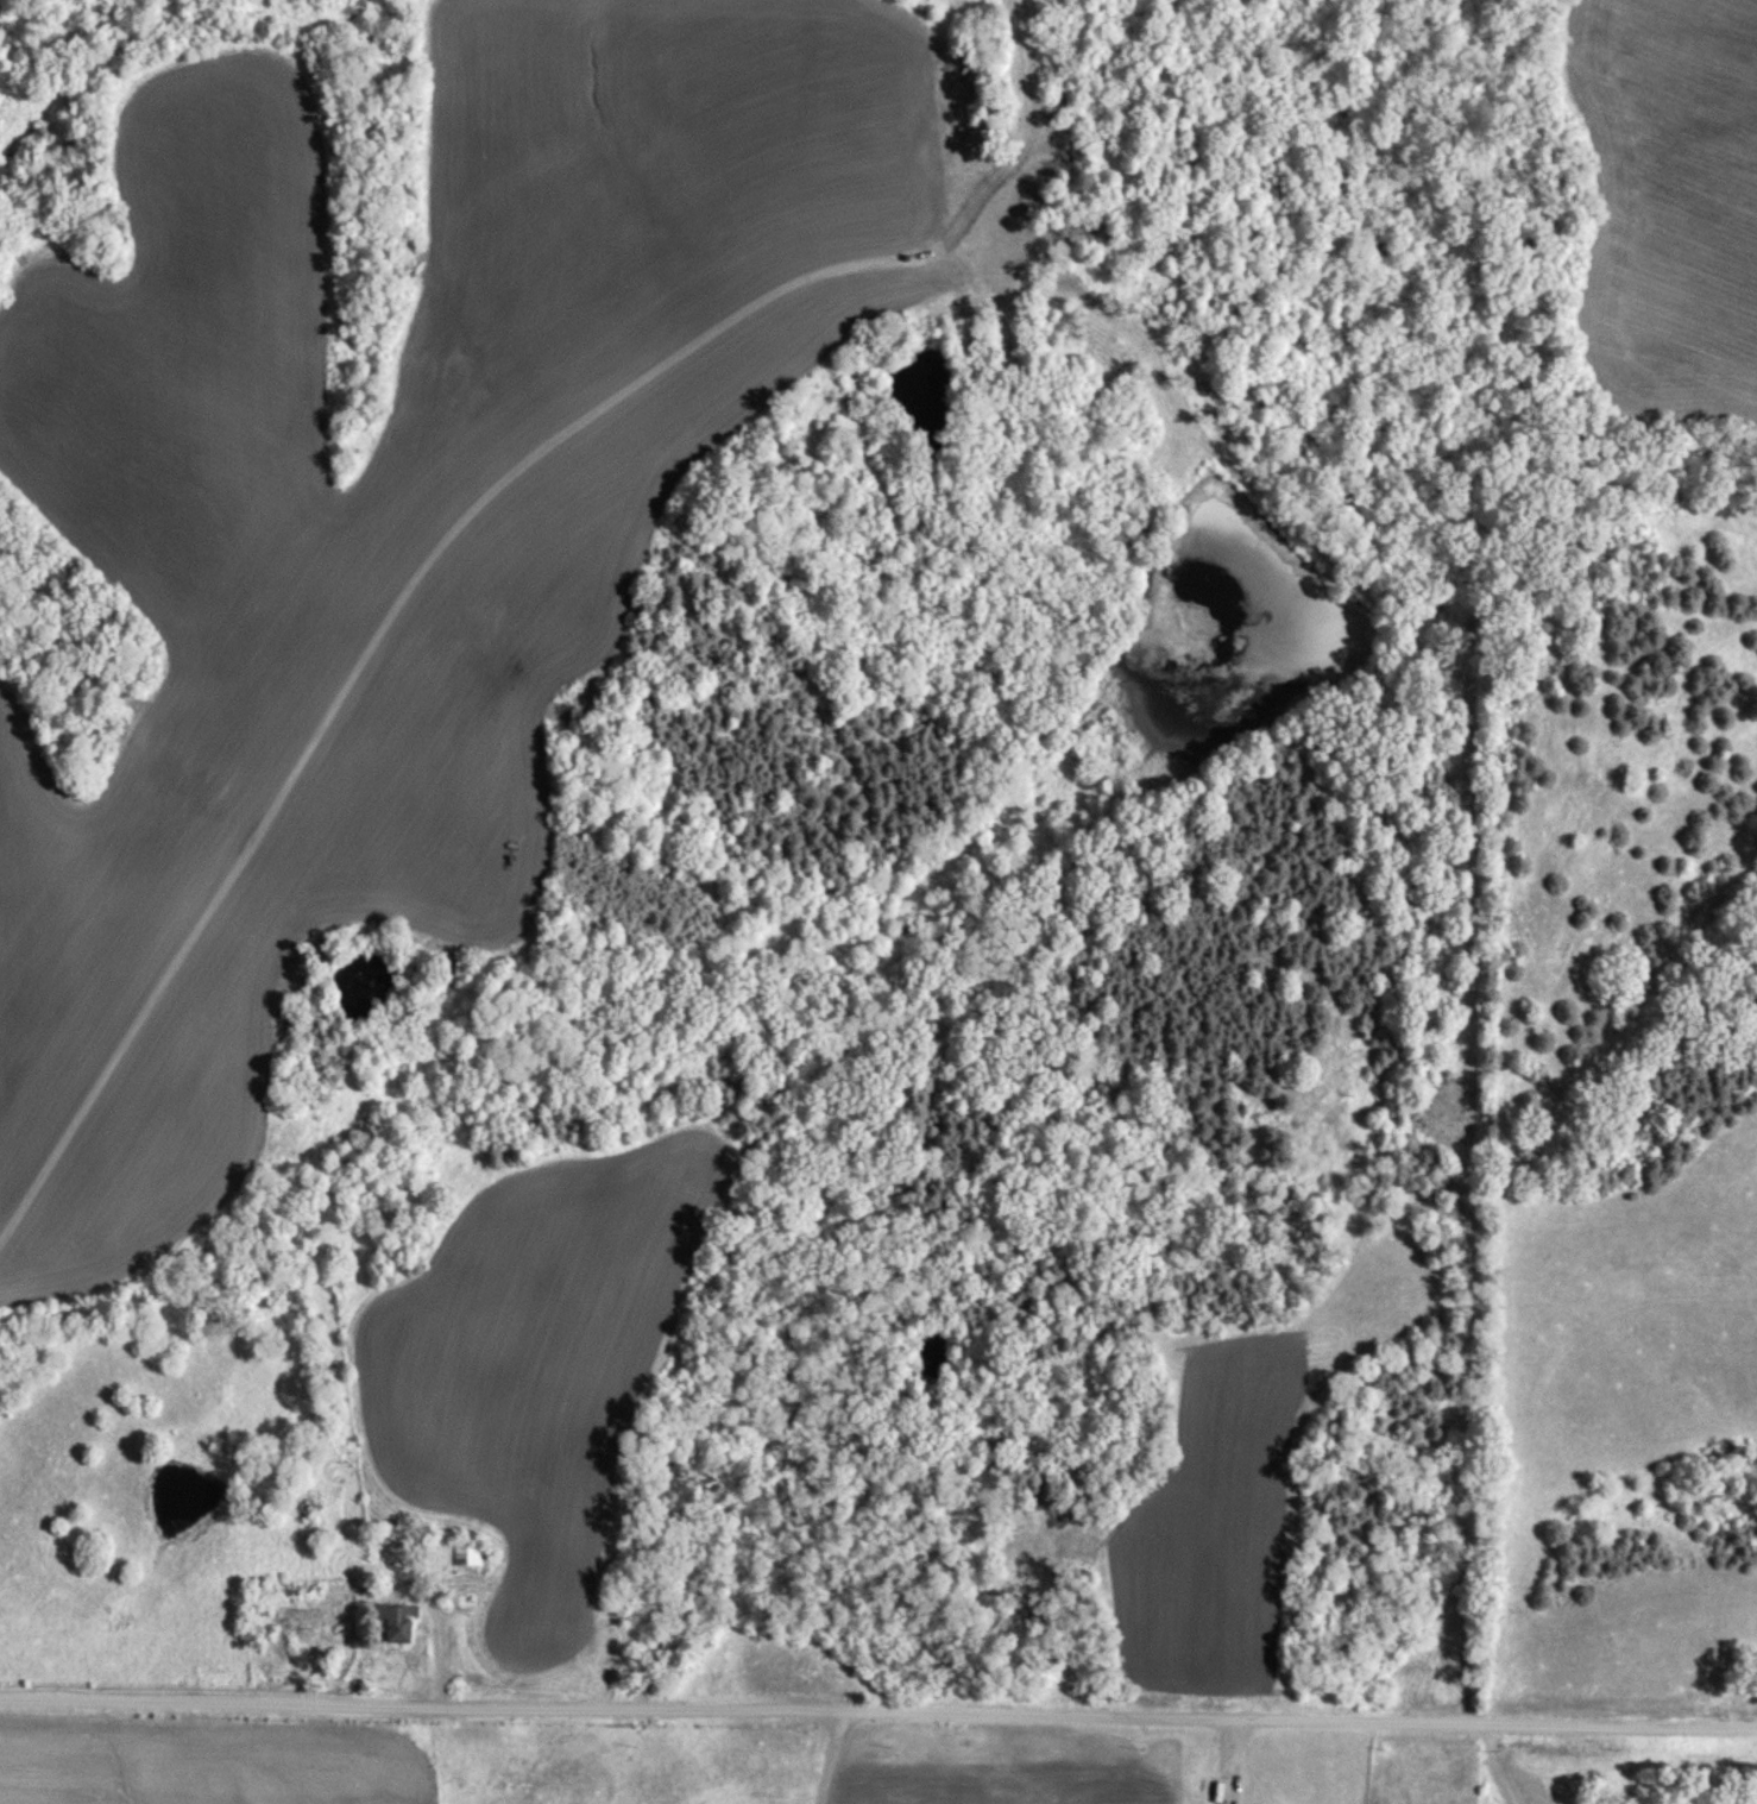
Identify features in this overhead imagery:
building: (471, 1553)
building: (315, 1598)
building: (398, 1621)
road: (878, 1710)

